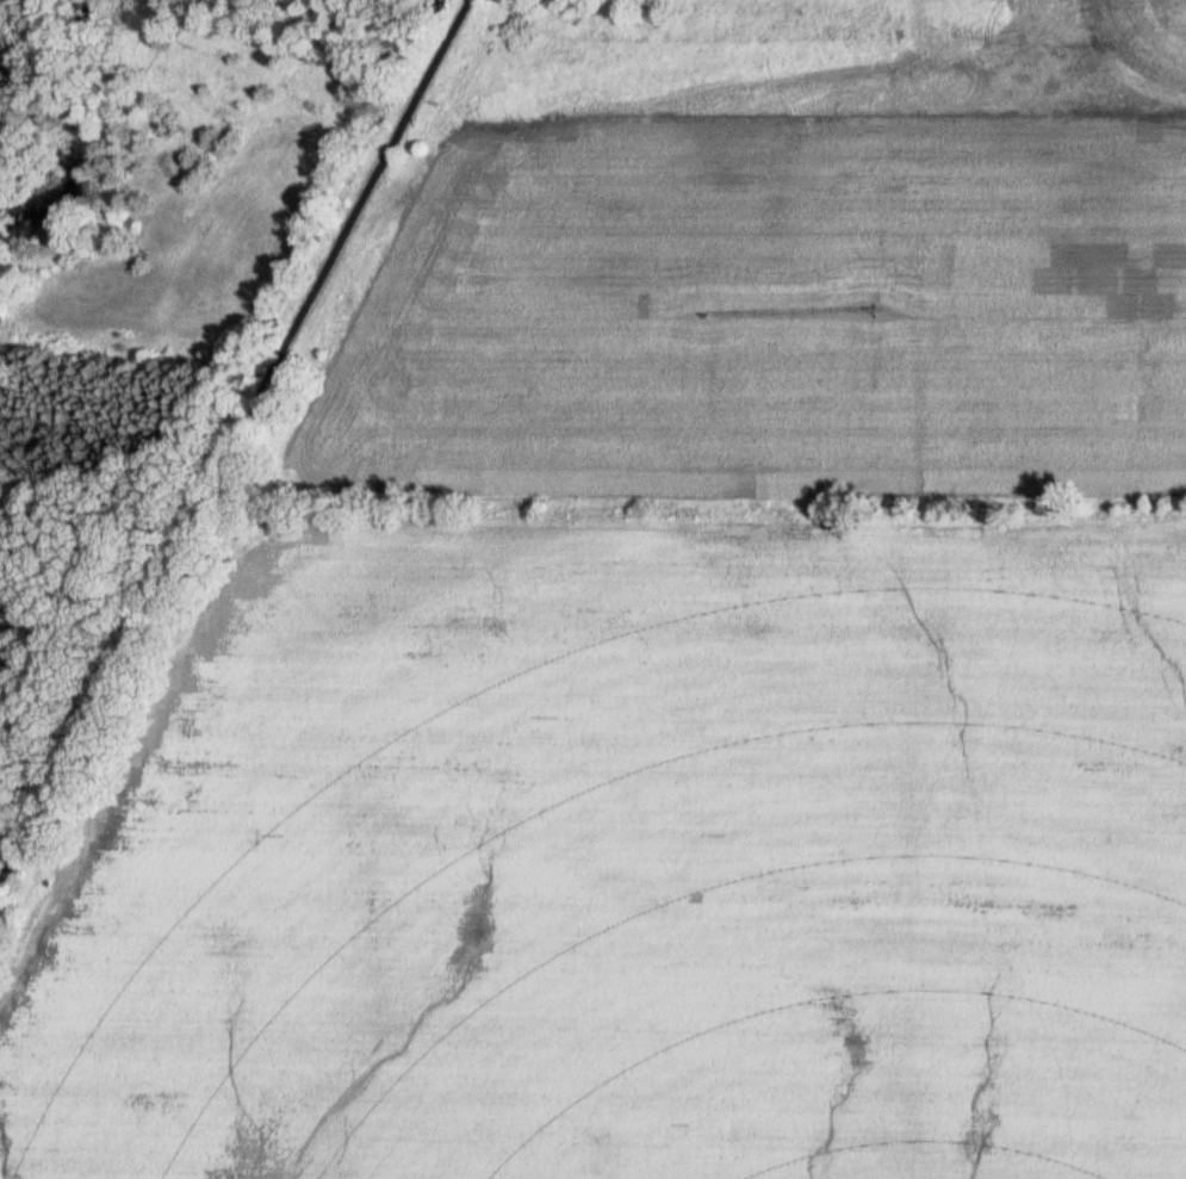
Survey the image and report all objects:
road: (228, 427)

